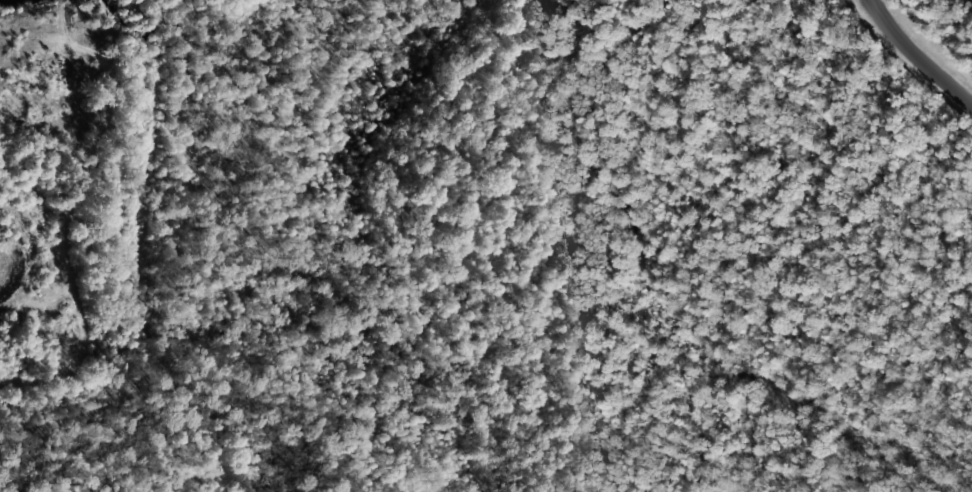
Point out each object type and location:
road: (918, 53)

